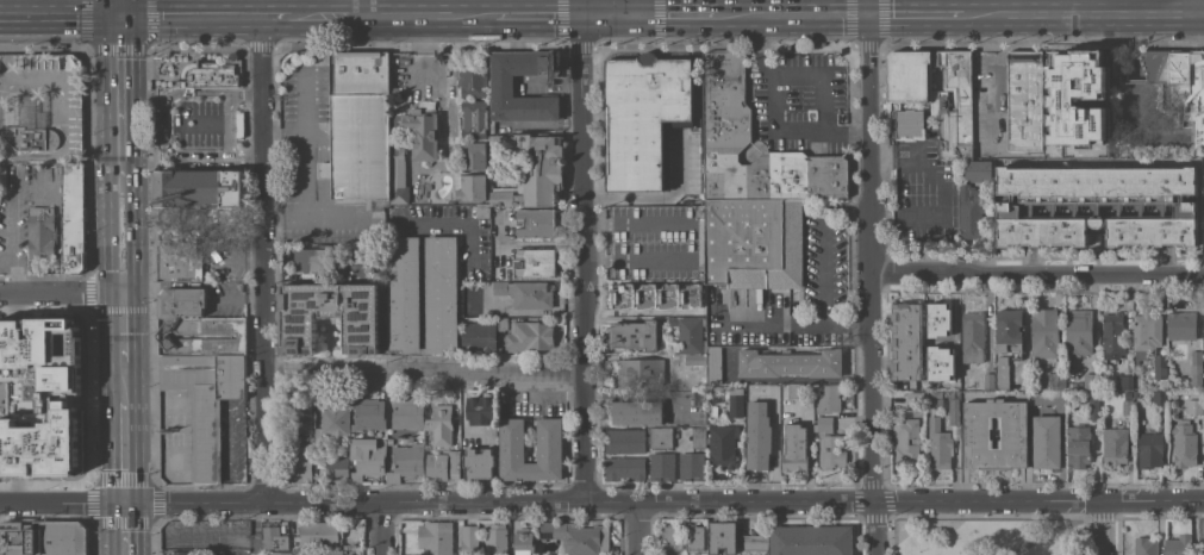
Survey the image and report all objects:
road: (642, 5)
road: (1196, 5)
road: (367, 6)
road: (547, 6)
road: (116, 7)
road: (198, 7)
road: (615, 11)
traffic signals: (865, 11)
road: (913, 11)
road: (1083, 11)
traffic signals: (576, 12)
road: (327, 14)
road: (58, 15)
traffic signals: (117, 15)
road: (202, 15)
road: (420, 44)
road: (766, 69)
road: (796, 71)
building: (207, 75)
building: (909, 75)
road: (990, 79)
building: (473, 80)
building: (1056, 81)
building: (1178, 83)
building: (500, 85)
building: (1092, 87)
building: (963, 100)
building: (1025, 100)
road: (824, 101)
road: (118, 108)
building: (473, 118)
building: (644, 118)
road: (164, 123)
building: (909, 123)
building: (30, 124)
road: (206, 124)
building: (726, 124)
road: (230, 126)
building: (360, 130)
road: (817, 130)
building: (412, 143)
building: (473, 155)
building: (956, 158)
road: (1097, 161)
building: (24, 168)
building: (529, 168)
building: (977, 169)
building: (1203, 170)
building: (2, 175)
building: (469, 186)
building: (199, 187)
road: (938, 189)
building: (1097, 205)
building: (482, 210)
road: (844, 211)
building: (969, 212)
building: (74, 217)
road: (8, 218)
building: (535, 223)
building: (42, 232)
building: (751, 242)
road: (119, 245)
building: (362, 249)
road: (578, 256)
building: (313, 258)
road: (263, 260)
building: (179, 262)
building: (535, 262)
road: (824, 268)
building: (361, 272)
road: (1035, 272)
building: (501, 273)
road: (867, 282)
road: (60, 289)
building: (525, 293)
building: (640, 293)
building: (403, 295)
building: (181, 301)
building: (695, 308)
building: (329, 316)
building: (501, 323)
road: (793, 323)
road: (120, 324)
building: (1181, 325)
building: (1009, 331)
building: (937, 332)
building: (1078, 332)
building: (1203, 332)
building: (479, 333)
building: (634, 333)
building: (687, 333)
building: (1044, 333)
building: (1113, 333)
building: (1146, 333)
building: (529, 335)
building: (202, 336)
building: (972, 336)
building: (906, 341)
building: (1171, 344)
building: (43, 353)
building: (694, 358)
building: (790, 363)
building: (940, 363)
building: (713, 364)
building: (1160, 366)
building: (1196, 367)
building: (641, 370)
road: (422, 373)
building: (1002, 373)
road: (120, 381)
building: (950, 381)
building: (987, 381)
building: (1056, 381)
building: (1091, 381)
building: (1124, 382)
building: (1074, 385)
building: (1136, 386)
building: (794, 389)
building: (932, 393)
building: (1137, 393)
building: (1048, 397)
building: (715, 398)
building: (828, 398)
building: (913, 398)
building: (1160, 399)
building: (734, 400)
building: (1193, 401)
building: (1127, 405)
building: (953, 406)
building: (1093, 406)
building: (480, 409)
building: (713, 410)
building: (637, 412)
building: (406, 414)
building: (369, 418)
building: (305, 419)
building: (823, 423)
building: (332, 424)
building: (441, 424)
building: (978, 434)
building: (757, 436)
building: (660, 437)
building: (698, 437)
building: (511, 439)
building: (907, 439)
building: (389, 441)
building: (625, 441)
building: (1046, 442)
building: (39, 443)
building: (1183, 443)
building: (940, 444)
building: (722, 445)
building: (1078, 445)
building: (1115, 445)
building: (794, 448)
building: (1149, 449)
building: (831, 451)
road: (120, 453)
building: (367, 457)
building: (405, 461)
building: (478, 463)
building: (442, 464)
building: (298, 466)
building: (661, 466)
building: (691, 466)
building: (337, 467)
building: (624, 467)
road: (601, 501)
traffic signals: (121, 504)
road: (635, 528)
road: (1062, 528)
road: (1104, 528)
road: (121, 529)
road: (254, 529)
road: (380, 529)
building: (320, 534)
building: (722, 536)
building: (43, 537)
building: (273, 537)
building: (435, 537)
building: (578, 537)
building: (670, 537)
building: (693, 537)
park: (991, 537)
building: (469, 540)
building: (495, 540)
building: (811, 540)
building: (523, 542)
building: (754, 542)
building: (1178, 544)
building: (1144, 545)
building: (325, 551)
building: (180, 553)
building: (277, 553)
building: (1203, 553)

